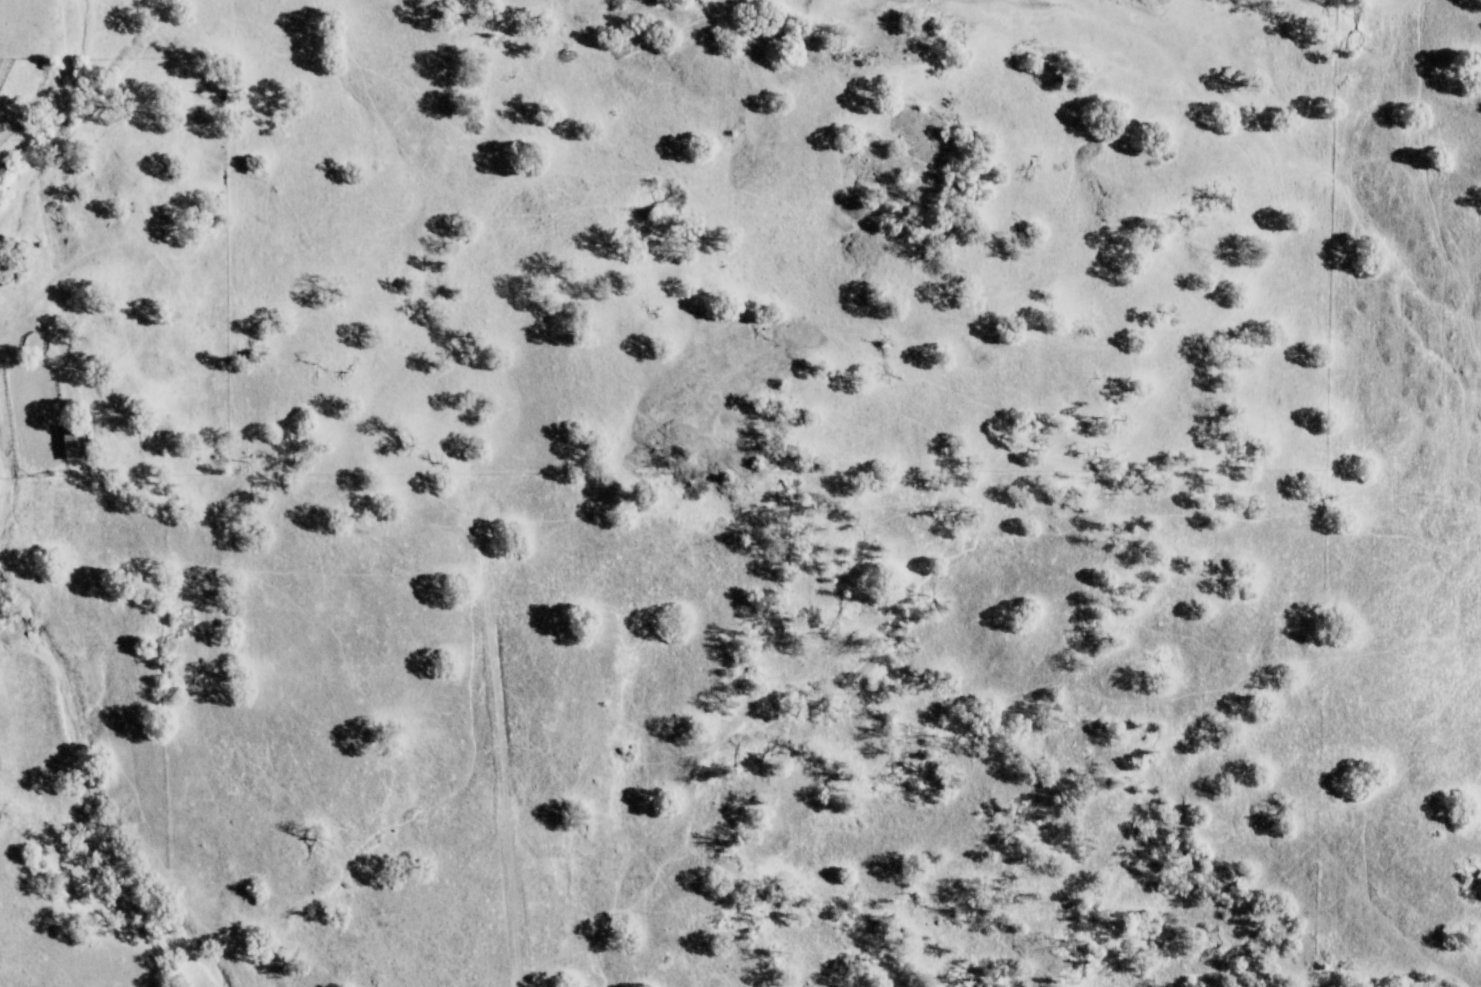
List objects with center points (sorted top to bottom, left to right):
road: (14, 379)

